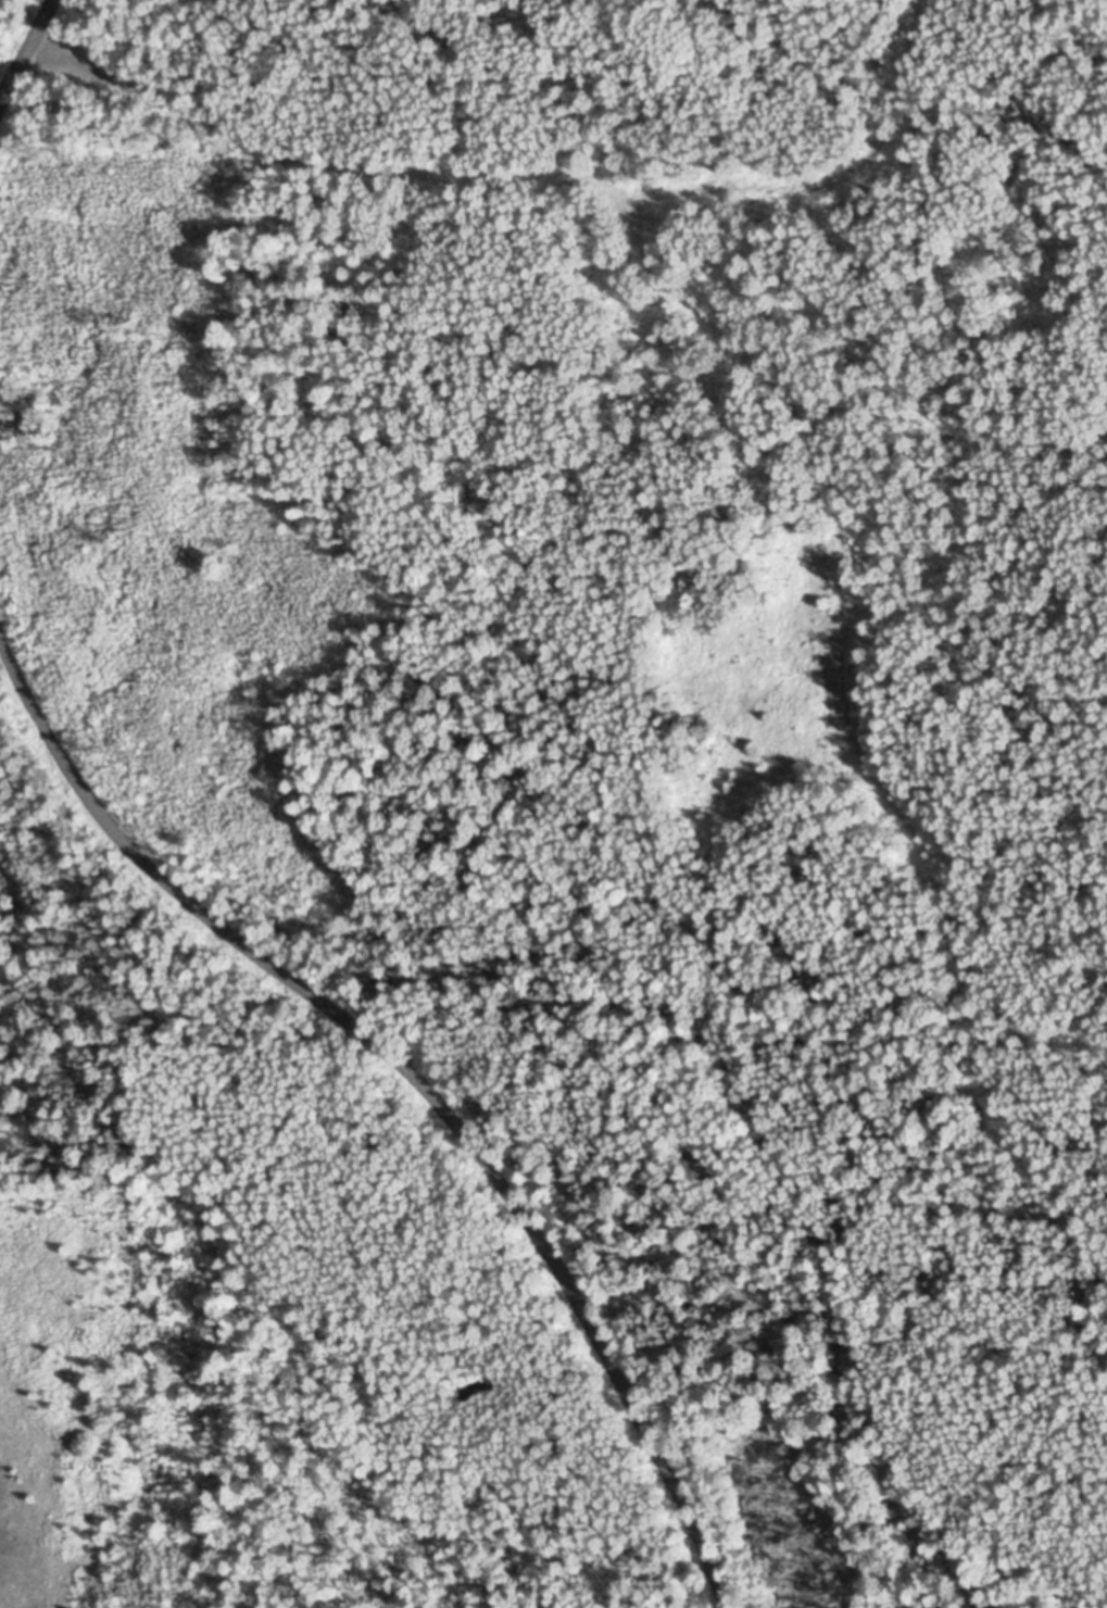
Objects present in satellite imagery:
road: (14, 36)
road: (414, 1084)

